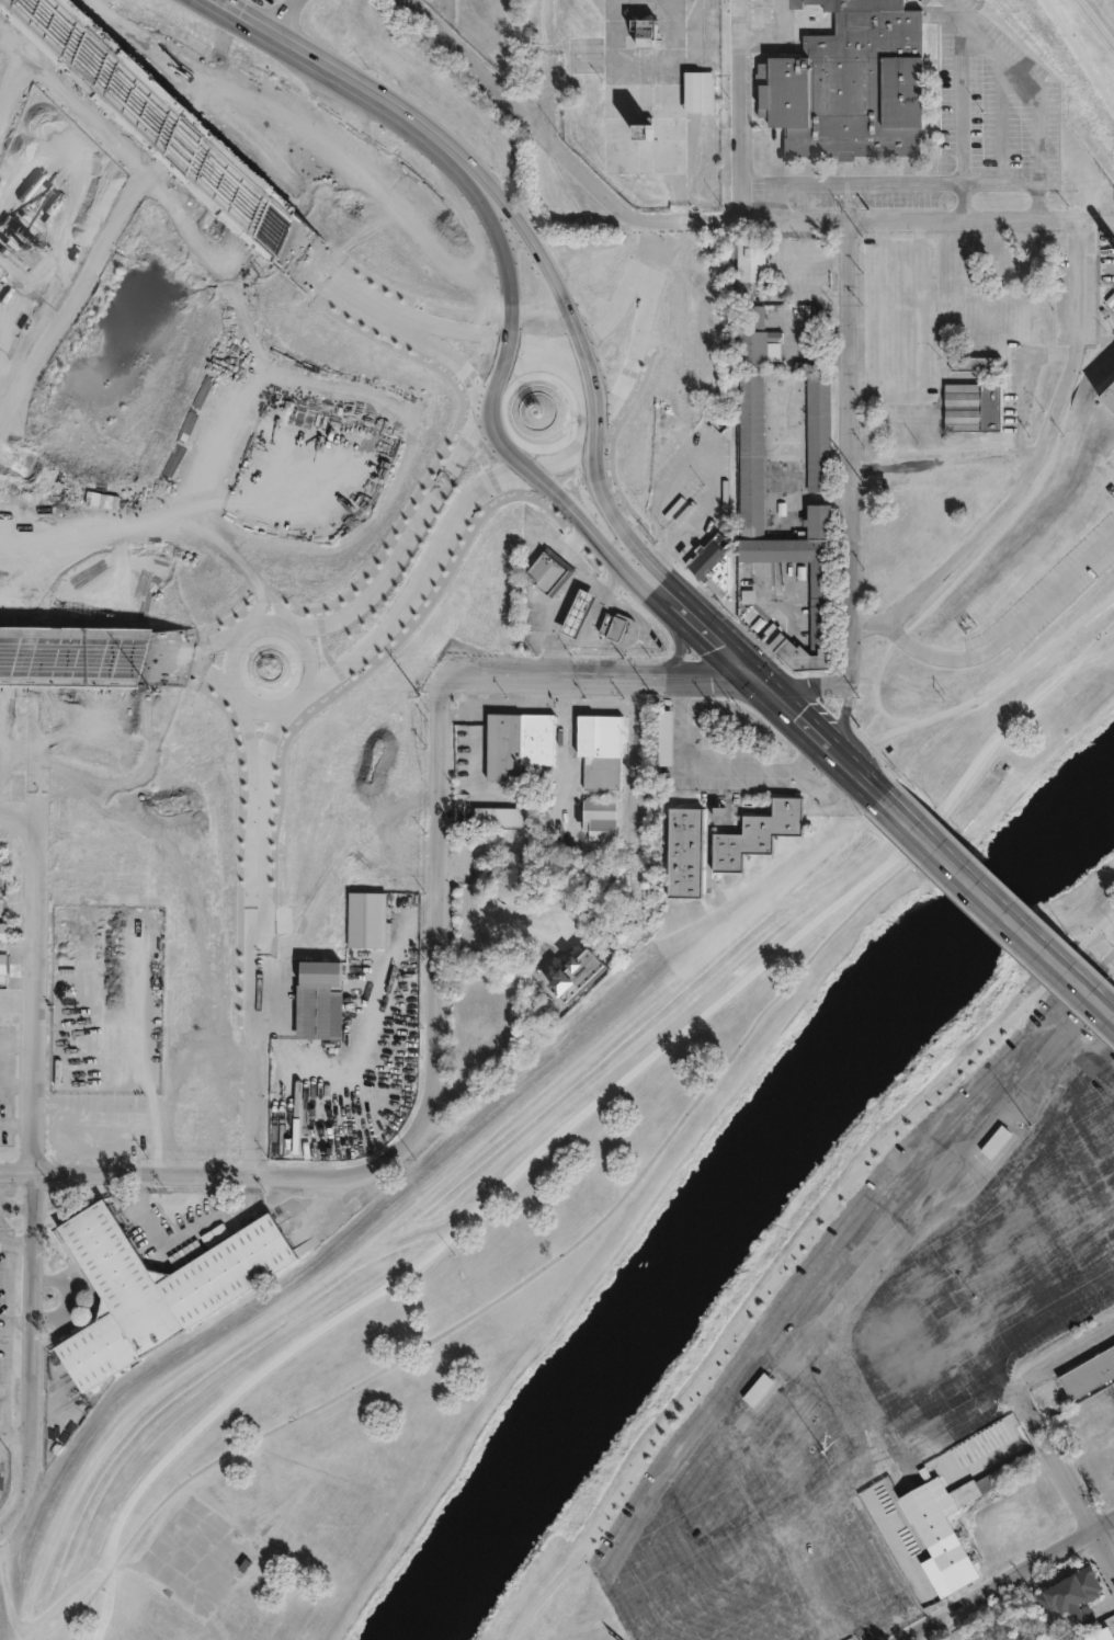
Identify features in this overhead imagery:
road: (955, 15)
road: (444, 19)
park: (1092, 22)
building: (645, 35)
road: (977, 43)
building: (588, 45)
road: (543, 70)
building: (855, 87)
building: (702, 93)
road: (158, 117)
building: (645, 127)
road: (890, 182)
road: (636, 218)
road: (905, 220)
road: (653, 252)
building: (751, 265)
road: (332, 280)
road: (643, 301)
building: (1032, 324)
road: (466, 328)
building: (1025, 329)
building: (750, 343)
road: (444, 355)
road: (527, 360)
road: (542, 360)
building: (976, 363)
building: (968, 369)
road: (583, 381)
road: (496, 383)
road: (900, 394)
road: (1019, 397)
building: (1106, 406)
building: (966, 413)
road: (487, 414)
road: (592, 429)
building: (815, 441)
road: (501, 447)
road: (713, 448)
road: (849, 452)
road: (565, 458)
road: (933, 463)
road: (1033, 465)
road: (462, 505)
road: (581, 522)
road: (614, 522)
building: (814, 531)
road: (403, 546)
building: (711, 569)
building: (547, 577)
road: (651, 590)
road: (257, 606)
road: (274, 606)
building: (580, 615)
building: (615, 628)
road: (587, 629)
road: (708, 636)
road: (1010, 639)
road: (370, 641)
road: (193, 645)
road: (679, 646)
road: (71, 653)
road: (191, 667)
road: (548, 674)
road: (701, 675)
traffic signals: (750, 675)
road: (806, 684)
road: (521, 690)
road: (561, 691)
road: (475, 698)
road: (260, 707)
road: (562, 707)
road: (840, 716)
road: (246, 726)
road: (271, 729)
road: (816, 734)
building: (664, 738)
building: (521, 744)
building: (603, 751)
road: (712, 768)
road: (476, 782)
road: (823, 794)
road: (637, 796)
road: (20, 811)
building: (505, 817)
building: (602, 819)
building: (760, 835)
building: (376, 854)
building: (687, 854)
park: (939, 888)
road: (437, 898)
road: (997, 907)
building: (370, 920)
building: (4, 932)
road: (1103, 946)
building: (4, 964)
road: (255, 965)
building: (576, 976)
building: (107, 1001)
building: (316, 1001)
road: (355, 1038)
road: (1077, 1063)
road: (1043, 1071)
road: (969, 1101)
road: (1069, 1102)
building: (183, 1119)
road: (1041, 1121)
road: (984, 1129)
road: (557, 1131)
building: (997, 1141)
railway: (1000, 1150)
road: (39, 1168)
road: (976, 1170)
road: (224, 1172)
road: (1012, 1178)
river: (729, 1181)
road: (635, 1182)
road: (930, 1182)
road: (1113, 1206)
road: (1023, 1219)
road: (857, 1222)
road: (1031, 1253)
road: (792, 1259)
road: (860, 1267)
road: (1039, 1285)
building: (160, 1289)
road: (846, 1321)
road: (1033, 1334)
parking lot: (883, 1348)
park: (463, 1355)
road: (1062, 1355)
road: (835, 1364)
building: (1089, 1374)
building: (758, 1389)
road: (853, 1392)
railway: (766, 1396)
road: (874, 1427)
road: (897, 1456)
railway: (867, 1457)
railway: (862, 1459)
railway: (884, 1460)
road: (749, 1468)
road: (1062, 1476)
road: (702, 1477)
railway: (901, 1481)
railway: (887, 1494)
road: (1103, 1525)
road: (7, 1526)
road: (634, 1528)
building: (939, 1530)
road: (692, 1531)
road: (862, 1545)
road: (828, 1546)
road: (711, 1564)
road: (814, 1581)
road: (849, 1581)
road: (993, 1584)
building: (1075, 1597)
road: (734, 1598)
helipad: (645, 1603)
road: (864, 1610)
road: (781, 1616)
road: (34, 1625)
road: (827, 1632)
building: (1103, 1635)

